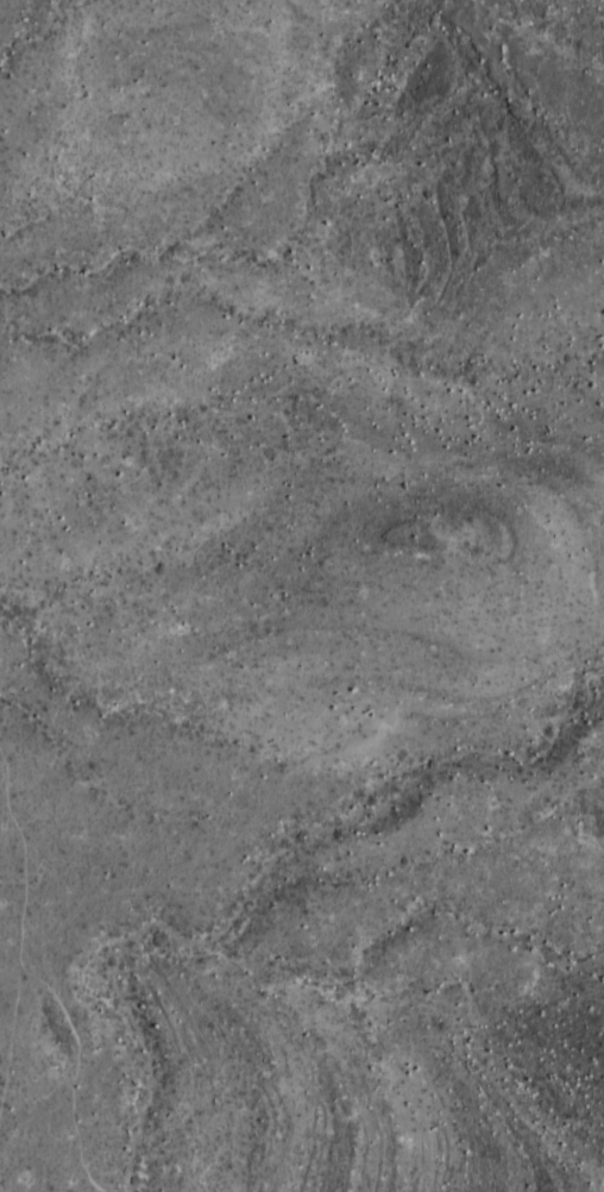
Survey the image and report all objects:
road: (26, 967)

